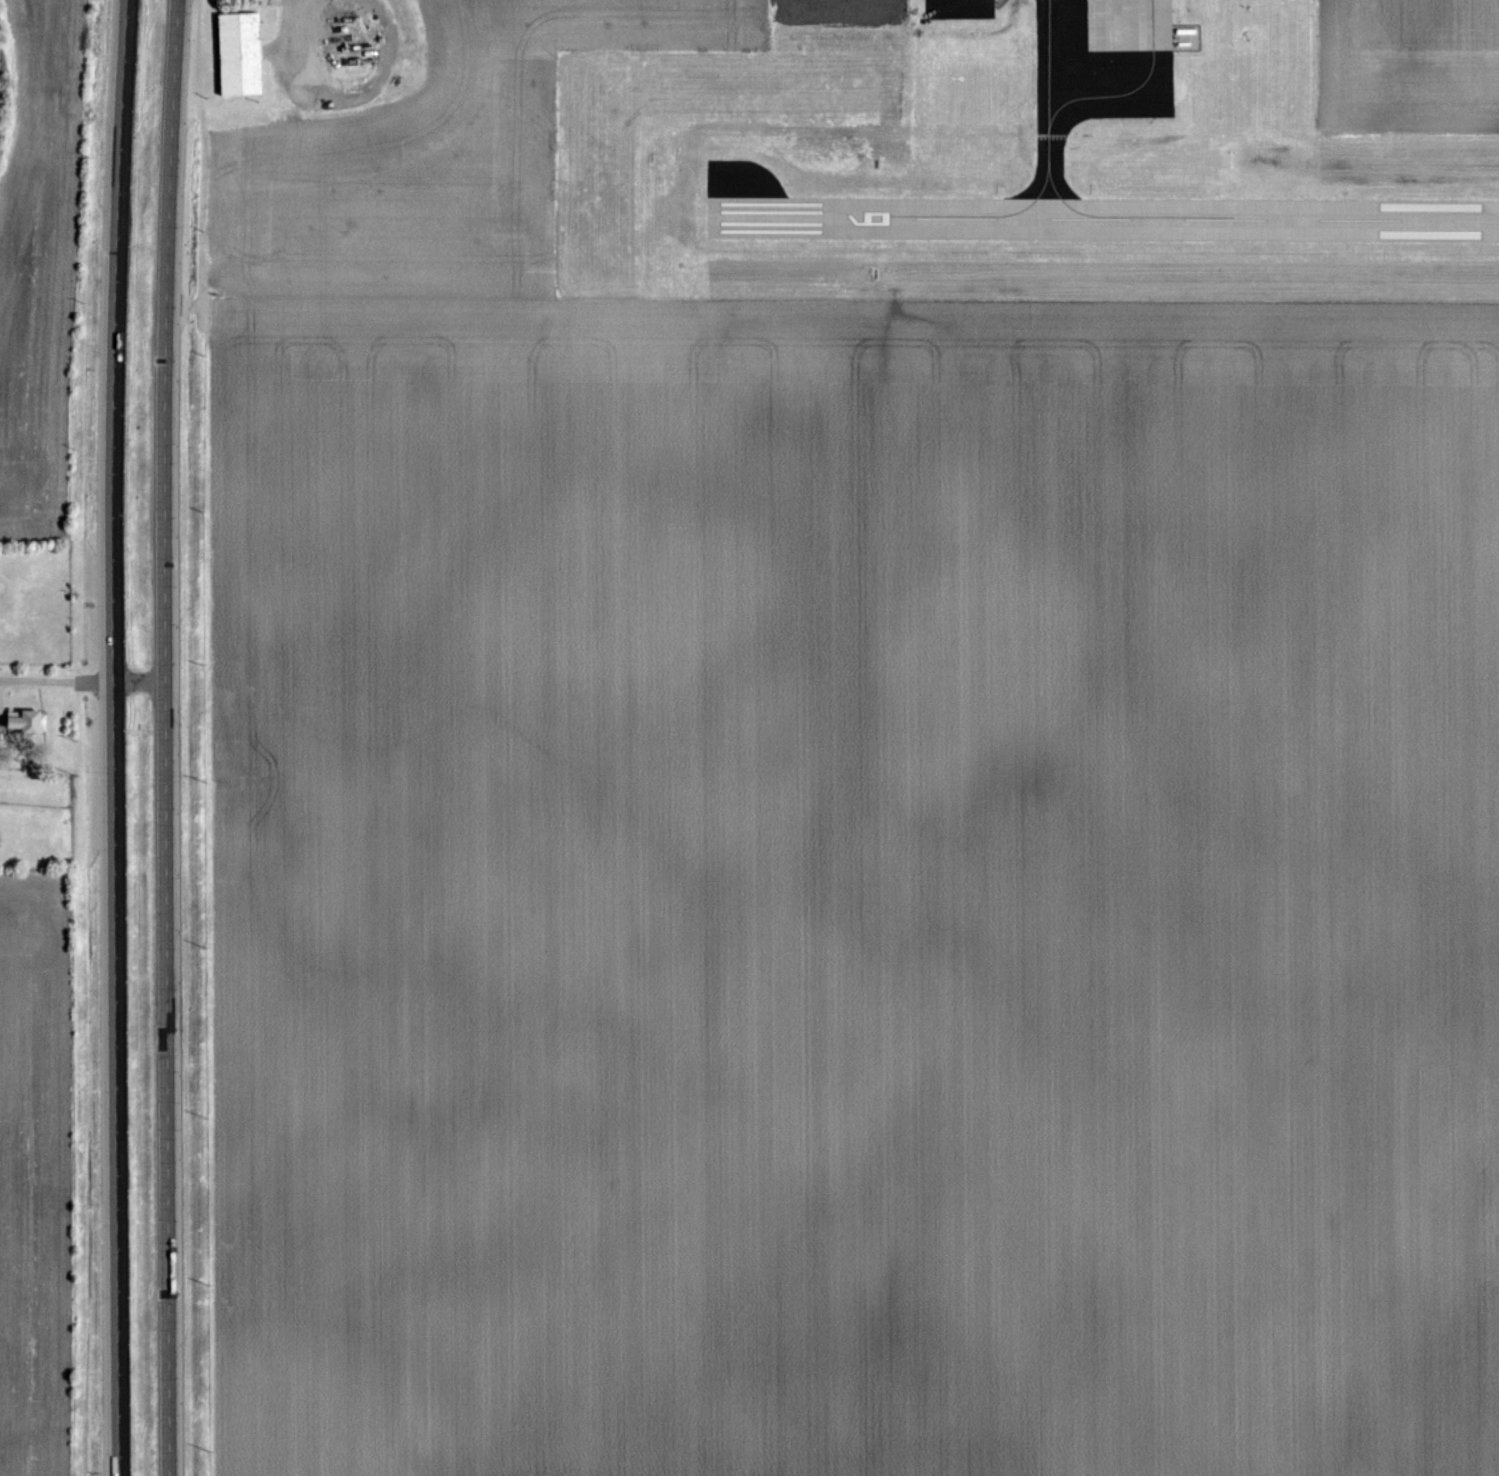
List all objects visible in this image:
road: (931, 4)
road: (294, 30)
building: (240, 54)
airport taxiway: (1133, 91)
airport taxiway: (1049, 124)
crop: (433, 159)
airport: (998, 163)
airport taxiway: (984, 216)
airport runway: (1272, 218)
crop: (42, 263)
road: (83, 681)
building: (27, 722)
road: (112, 737)
road: (166, 737)

